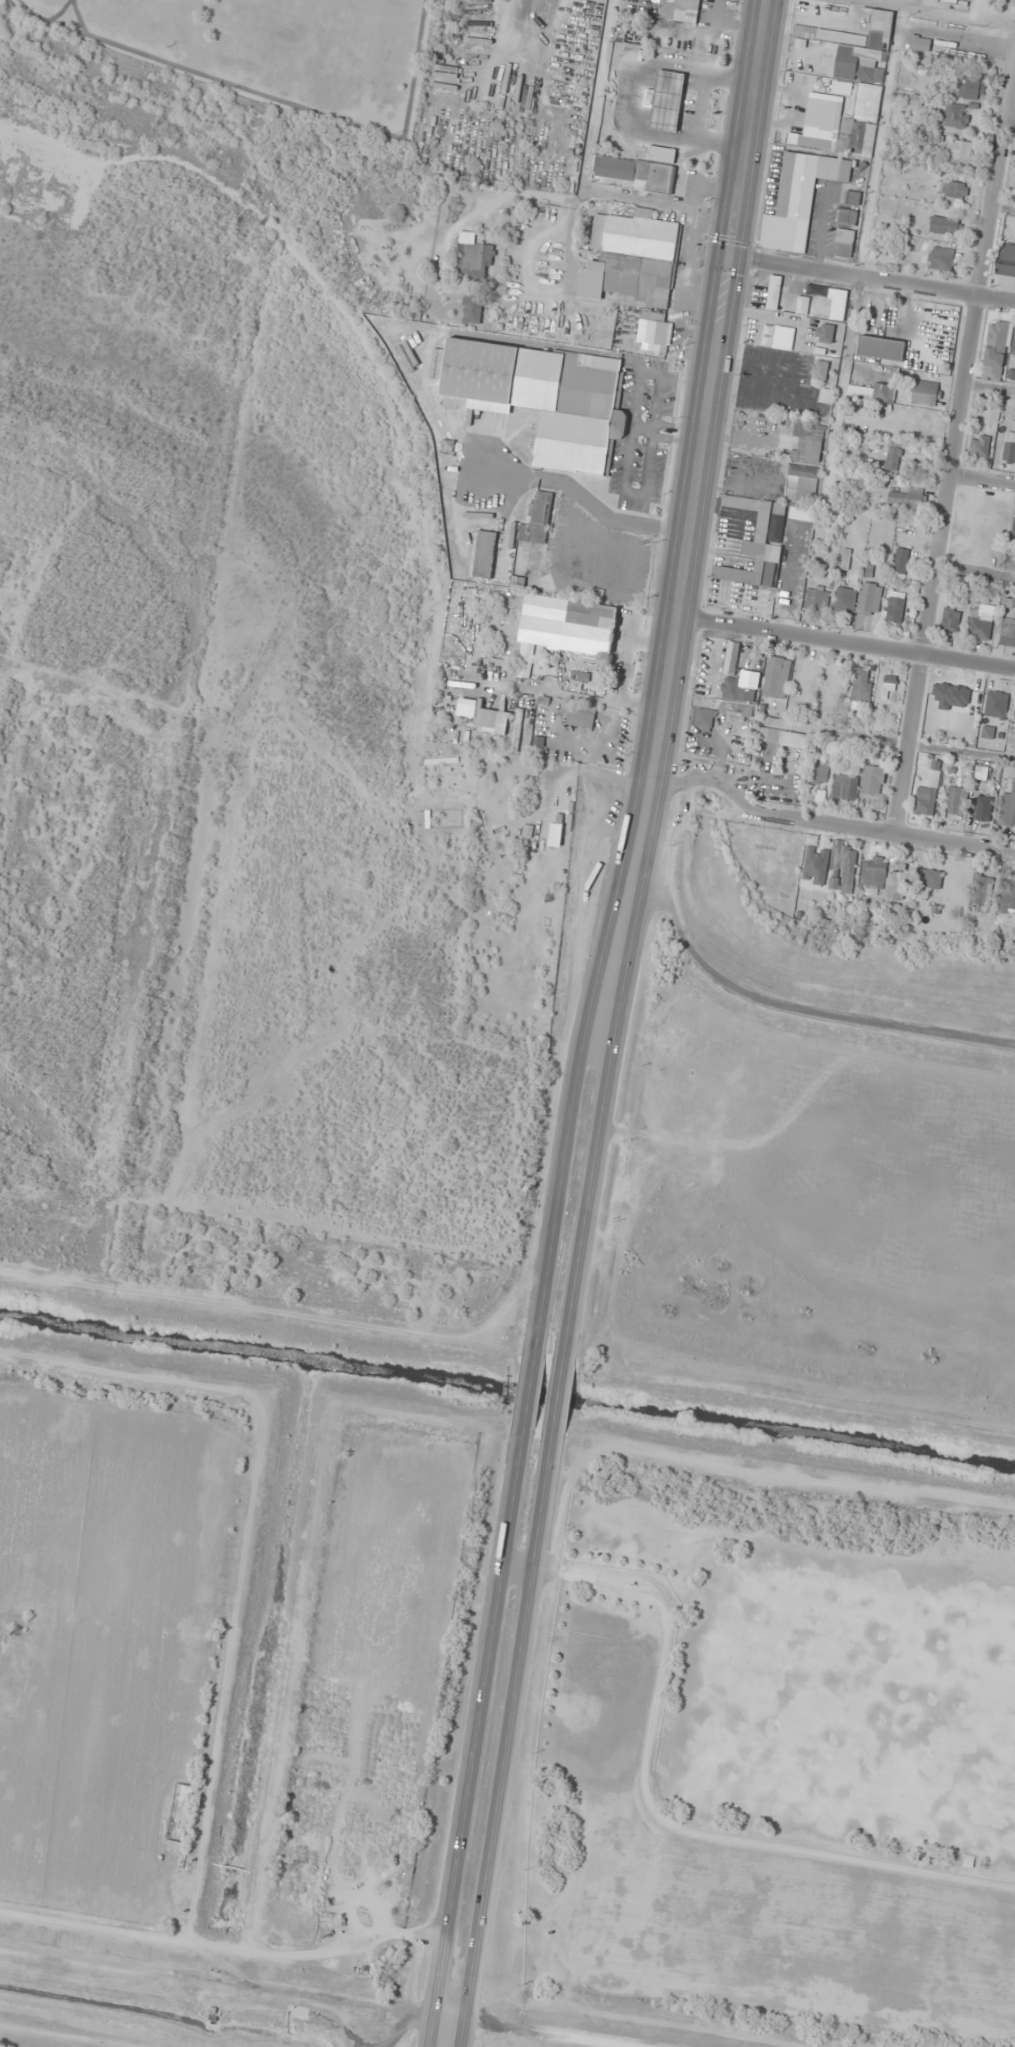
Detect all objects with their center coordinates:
building: (950, 2)
building: (678, 10)
building: (919, 43)
building: (798, 55)
building: (869, 83)
building: (841, 87)
building: (968, 89)
building: (665, 100)
building: (821, 113)
road: (1009, 114)
building: (955, 115)
building: (957, 152)
building: (641, 170)
building: (953, 189)
building: (852, 198)
building: (798, 199)
building: (846, 217)
building: (944, 226)
building: (843, 242)
traffic signals: (728, 256)
building: (940, 258)
building: (475, 260)
building: (1006, 261)
building: (635, 269)
road: (871, 279)
building: (773, 292)
building: (838, 294)
building: (802, 305)
building: (472, 309)
building: (837, 309)
building: (824, 332)
building: (1013, 341)
building: (995, 343)
building: (881, 348)
building: (819, 370)
building: (871, 392)
building: (925, 393)
building: (826, 396)
building: (543, 399)
road: (704, 420)
road: (953, 437)
building: (807, 442)
building: (1009, 445)
building: (979, 446)
building: (892, 458)
building: (917, 475)
road: (981, 479)
building: (800, 482)
building: (906, 498)
building: (537, 520)
river: (284, 530)
building: (1013, 531)
building: (757, 542)
building: (484, 554)
building: (900, 561)
building: (784, 588)
building: (597, 595)
building: (815, 599)
building: (869, 599)
building: (844, 601)
building: (1009, 602)
building: (894, 607)
building: (949, 621)
building: (980, 622)
building: (591, 626)
building: (1006, 632)
road: (845, 641)
building: (526, 660)
building: (776, 677)
building: (737, 678)
building: (581, 681)
building: (861, 684)
building: (888, 688)
building: (938, 697)
building: (776, 708)
building: (735, 709)
building: (581, 715)
building: (704, 717)
building: (486, 721)
building: (1014, 729)
building: (782, 737)
building: (819, 774)
building: (872, 780)
building: (845, 787)
building: (924, 800)
building: (955, 800)
building: (1007, 807)
road: (822, 821)
building: (816, 856)
building: (844, 864)
building: (873, 873)
building: (929, 878)
building: (895, 885)
building: (982, 890)
building: (1008, 898)
road: (575, 1098)
road: (606, 1104)
building: (699, 1158)
road: (528, 1393)
road: (556, 1397)
river: (658, 1408)
road: (479, 1735)
road: (508, 1737)

